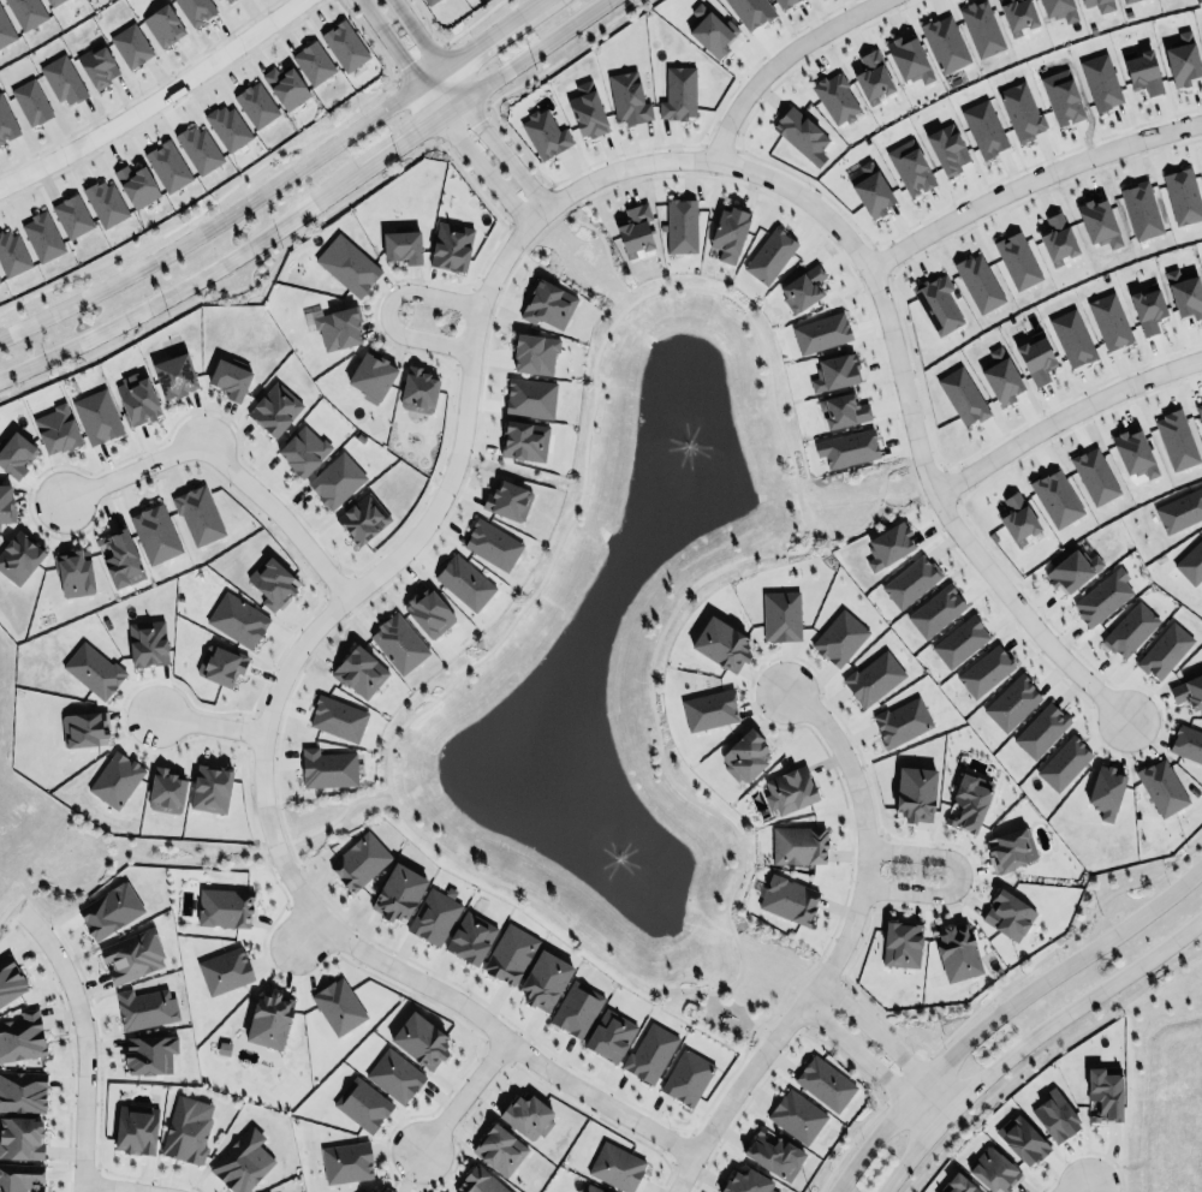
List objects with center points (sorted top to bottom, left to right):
building: (52, 1)
building: (224, 1)
building: (430, 1)
building: (1126, 1)
building: (784, 2)
building: (1099, 5)
road: (528, 7)
building: (196, 8)
building: (1059, 8)
building: (26, 12)
building: (750, 12)
building: (1017, 16)
building: (163, 23)
building: (981, 26)
building: (5, 29)
building: (712, 29)
road: (418, 34)
road: (391, 41)
road: (480, 41)
building: (345, 43)
building: (945, 43)
building: (131, 44)
road: (564, 52)
building: (909, 58)
building: (1180, 58)
road: (776, 59)
building: (314, 61)
building: (97, 64)
building: (1143, 71)
road: (430, 74)
building: (63, 77)
building: (873, 77)
building: (1101, 79)
building: (286, 85)
building: (678, 91)
building: (627, 96)
building: (835, 97)
building: (1061, 97)
building: (30, 100)
road: (154, 100)
building: (256, 102)
building: (1019, 108)
building: (587, 111)
building: (6, 120)
road: (463, 120)
building: (227, 125)
building: (983, 126)
building: (799, 130)
building: (543, 132)
road: (493, 138)
road: (677, 144)
road: (720, 144)
building: (198, 147)
building: (947, 148)
road: (471, 155)
building: (167, 163)
building: (910, 167)
road: (1028, 180)
building: (136, 183)
building: (871, 190)
building: (1179, 195)
road: (528, 198)
building: (105, 201)
road: (311, 204)
building: (1141, 210)
building: (71, 214)
road: (216, 221)
building: (1097, 221)
building: (680, 225)
road: (855, 225)
building: (636, 231)
building: (728, 231)
building: (42, 233)
building: (1054, 237)
building: (403, 244)
building: (450, 245)
road: (605, 250)
building: (12, 252)
building: (767, 254)
road: (880, 260)
building: (1017, 260)
building: (345, 264)
building: (978, 282)
building: (803, 288)
road: (233, 291)
building: (1185, 293)
building: (936, 300)
building: (545, 304)
road: (386, 309)
building: (1147, 309)
road: (621, 311)
building: (1107, 320)
building: (334, 323)
road: (464, 326)
road: (891, 330)
building: (819, 332)
building: (1072, 338)
road: (909, 346)
building: (534, 353)
building: (1034, 357)
road: (883, 368)
building: (833, 371)
building: (371, 372)
building: (173, 374)
building: (1001, 376)
building: (230, 379)
building: (417, 389)
building: (962, 395)
building: (135, 397)
building: (526, 398)
building: (273, 409)
building: (841, 410)
building: (1198, 410)
road: (1063, 415)
building: (95, 416)
building: (55, 429)
building: (1176, 440)
building: (523, 441)
building: (303, 448)
building: (847, 448)
building: (1133, 452)
fountain: (689, 453)
building: (16, 454)
road: (224, 463)
building: (1093, 475)
building: (335, 479)
road: (950, 484)
building: (1054, 496)
building: (507, 499)
building: (6, 502)
building: (1180, 508)
road: (870, 512)
building: (198, 514)
building: (361, 518)
building: (1017, 519)
building: (155, 534)
building: (888, 542)
building: (492, 544)
building: (118, 556)
building: (19, 558)
building: (1190, 562)
building: (1072, 570)
building: (71, 573)
building: (910, 580)
building: (272, 582)
road: (338, 582)
building: (462, 582)
building: (1102, 597)
road: (313, 608)
building: (934, 610)
building: (429, 613)
building: (780, 615)
building: (234, 619)
building: (1129, 627)
building: (838, 638)
building: (959, 642)
building: (147, 643)
building: (398, 643)
building: (721, 644)
building: (1165, 650)
building: (221, 663)
building: (93, 669)
building: (358, 670)
building: (983, 670)
building: (871, 677)
building: (1188, 691)
building: (1011, 703)
building: (708, 709)
building: (338, 717)
building: (901, 721)
road: (208, 723)
building: (83, 728)
building: (1039, 729)
road: (246, 731)
building: (1186, 743)
road: (261, 757)
building: (745, 757)
building: (1063, 761)
building: (327, 768)
building: (115, 779)
building: (1159, 785)
building: (208, 786)
building: (791, 787)
building: (166, 791)
building: (1105, 792)
building: (915, 794)
building: (970, 800)
road: (339, 812)
road: (850, 833)
building: (799, 844)
road: (275, 845)
building: (1010, 848)
road: (115, 853)
fountain: (630, 853)
building: (358, 859)
road: (876, 864)
road: (960, 874)
building: (397, 893)
building: (790, 898)
building: (225, 907)
building: (109, 910)
building: (1006, 913)
building: (433, 917)
road: (311, 926)
road: (307, 932)
building: (470, 937)
road: (1065, 938)
building: (899, 943)
road: (840, 950)
building: (957, 950)
building: (132, 954)
building: (510, 954)
road: (831, 965)
building: (225, 970)
building: (10, 978)
building: (543, 978)
road: (749, 997)
road: (822, 1001)
building: (338, 1006)
building: (145, 1008)
building: (576, 1008)
road: (999, 1008)
road: (789, 1017)
building: (269, 1018)
road: (84, 1027)
road: (888, 1032)
building: (609, 1035)
road: (1020, 1036)
building: (22, 1037)
building: (421, 1039)
road: (69, 1043)
road: (495, 1050)
road: (1040, 1051)
building: (149, 1054)
road: (867, 1054)
building: (645, 1055)
road: (774, 1062)
road: (100, 1072)
building: (392, 1075)
building: (685, 1077)
road: (904, 1077)
building: (822, 1083)
building: (22, 1090)
road: (463, 1093)
building: (1100, 1096)
building: (361, 1103)
building: (797, 1115)
building: (526, 1116)
building: (1053, 1116)
building: (186, 1127)
building: (136, 1128)
building: (20, 1137)
building: (1019, 1142)
road: (679, 1146)
road: (846, 1146)
building: (499, 1148)
road: (1085, 1149)
building: (773, 1154)
building: (242, 1161)
building: (346, 1161)
building: (617, 1166)
building: (990, 1172)
building: (19, 1176)
road: (96, 1176)
building: (480, 1181)
building: (745, 1181)
building: (954, 1185)
road: (1076, 1186)
road: (107, 1188)
building: (593, 1188)
building: (386, 1190)

